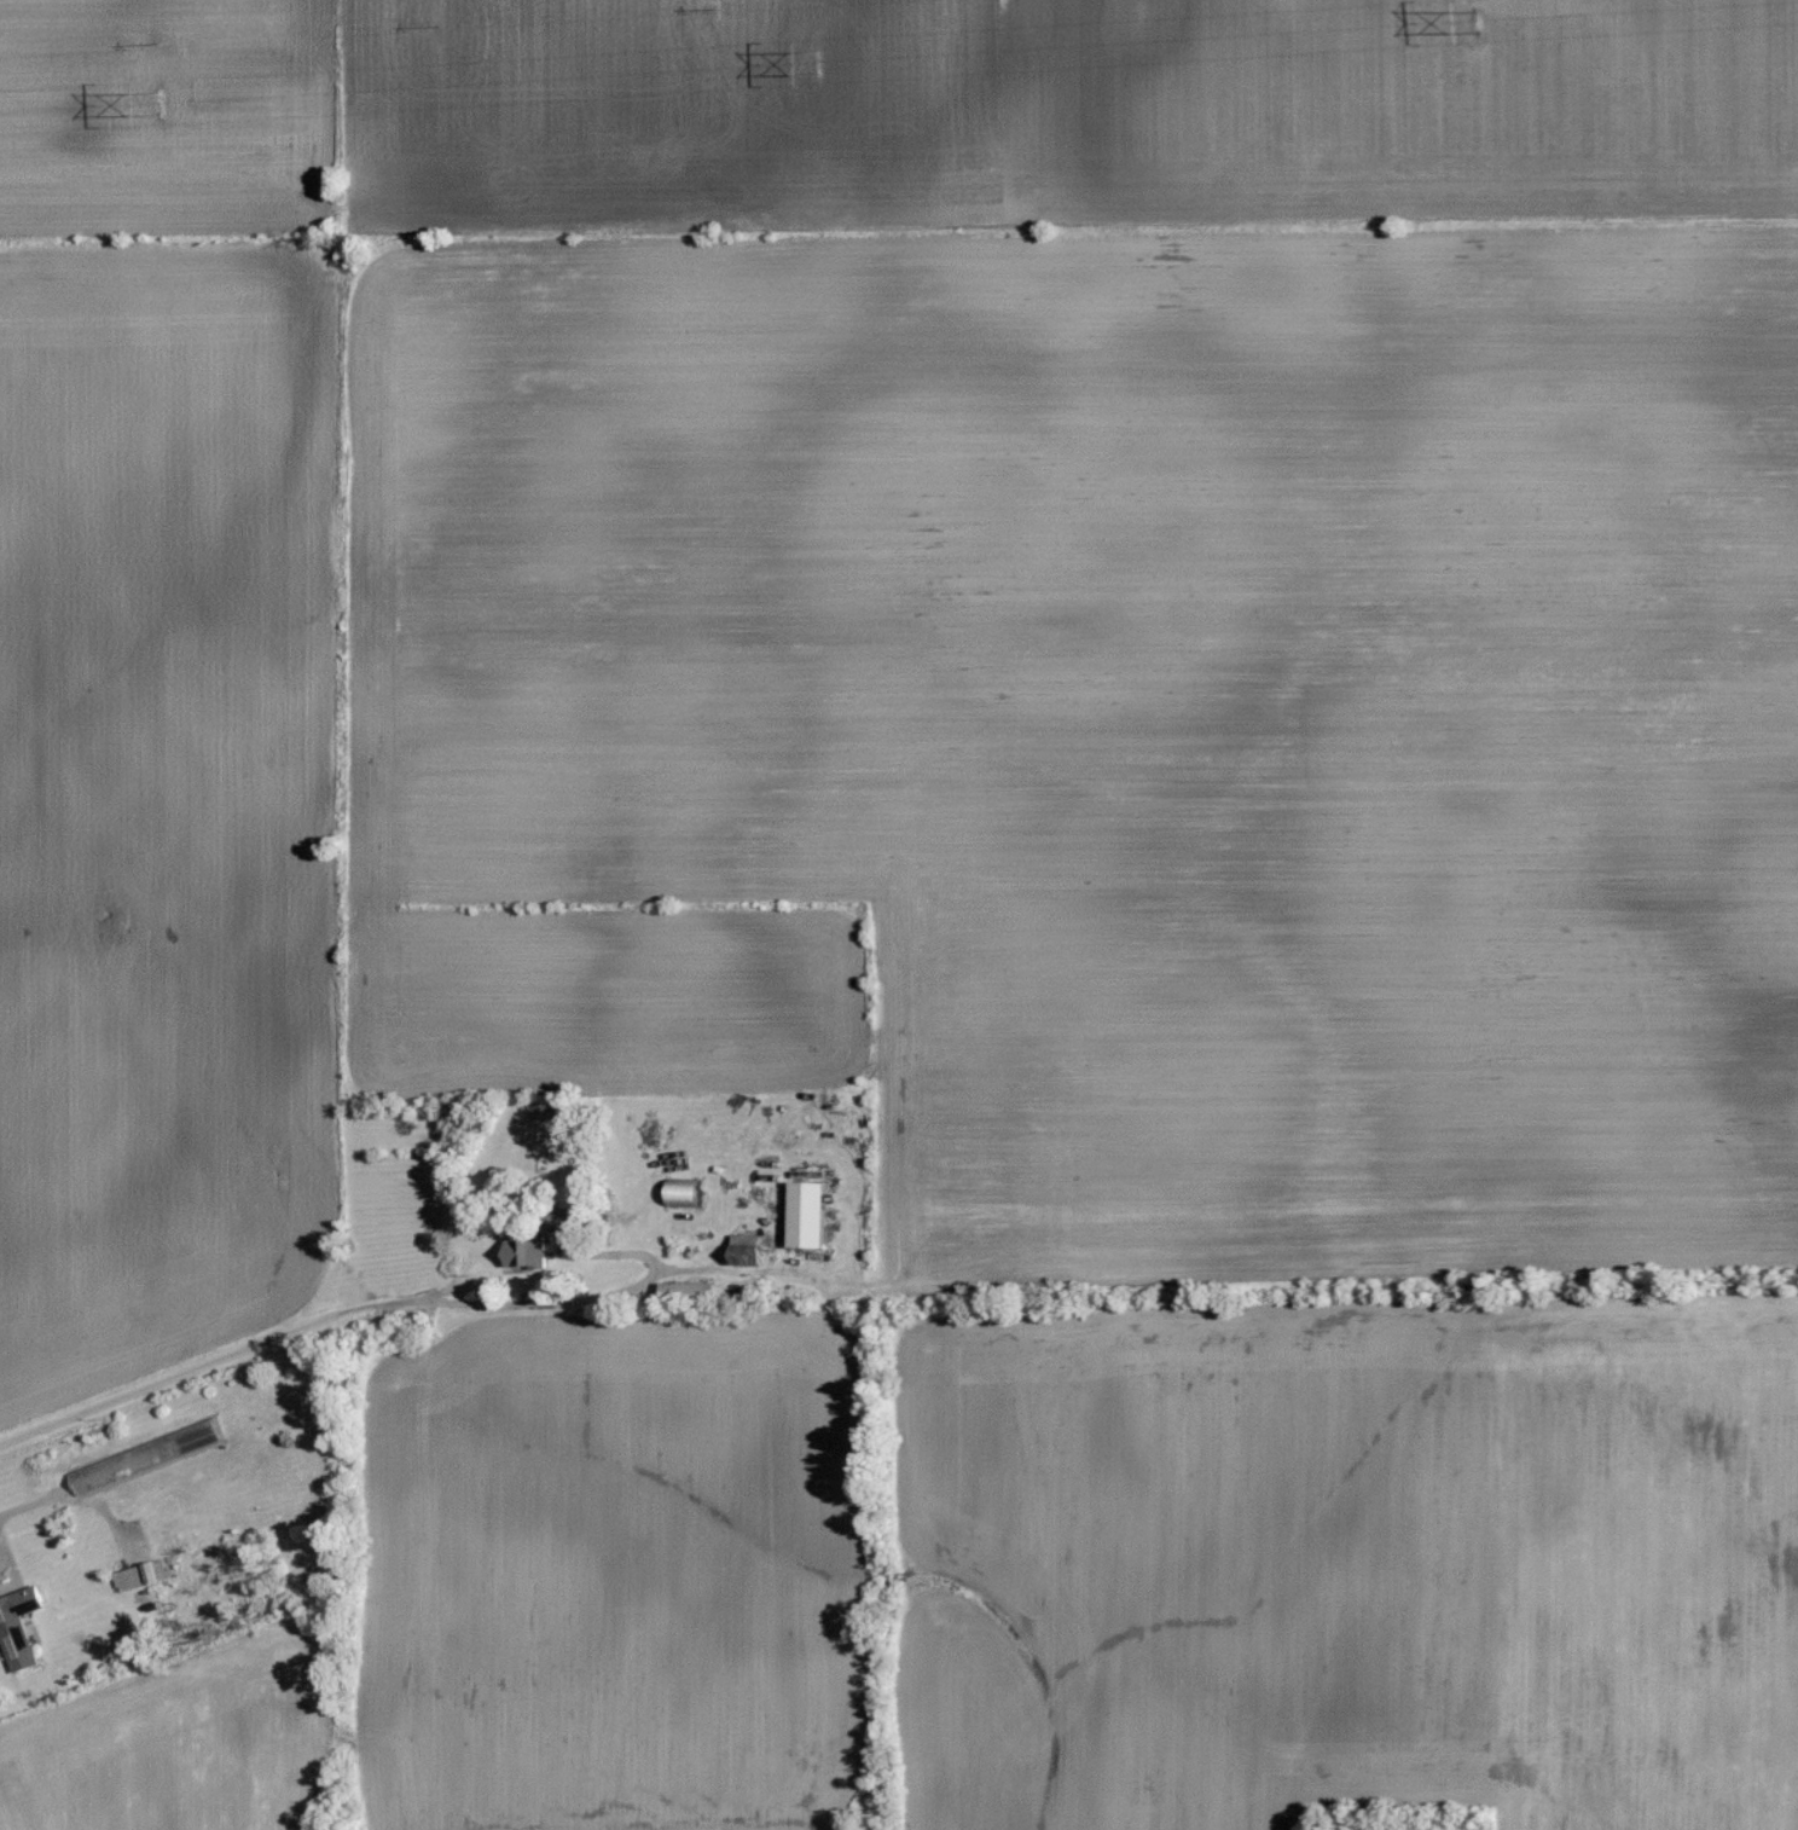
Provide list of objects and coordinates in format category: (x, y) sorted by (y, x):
power tower: (1479, 17)
power tower: (819, 60)
power tower: (161, 103)
building: (686, 1193)
building: (811, 1215)
building: (562, 1220)
building: (528, 1251)
building: (689, 1290)
road: (307, 1325)
road: (77, 1494)
building: (145, 1575)
building: (19, 1627)

